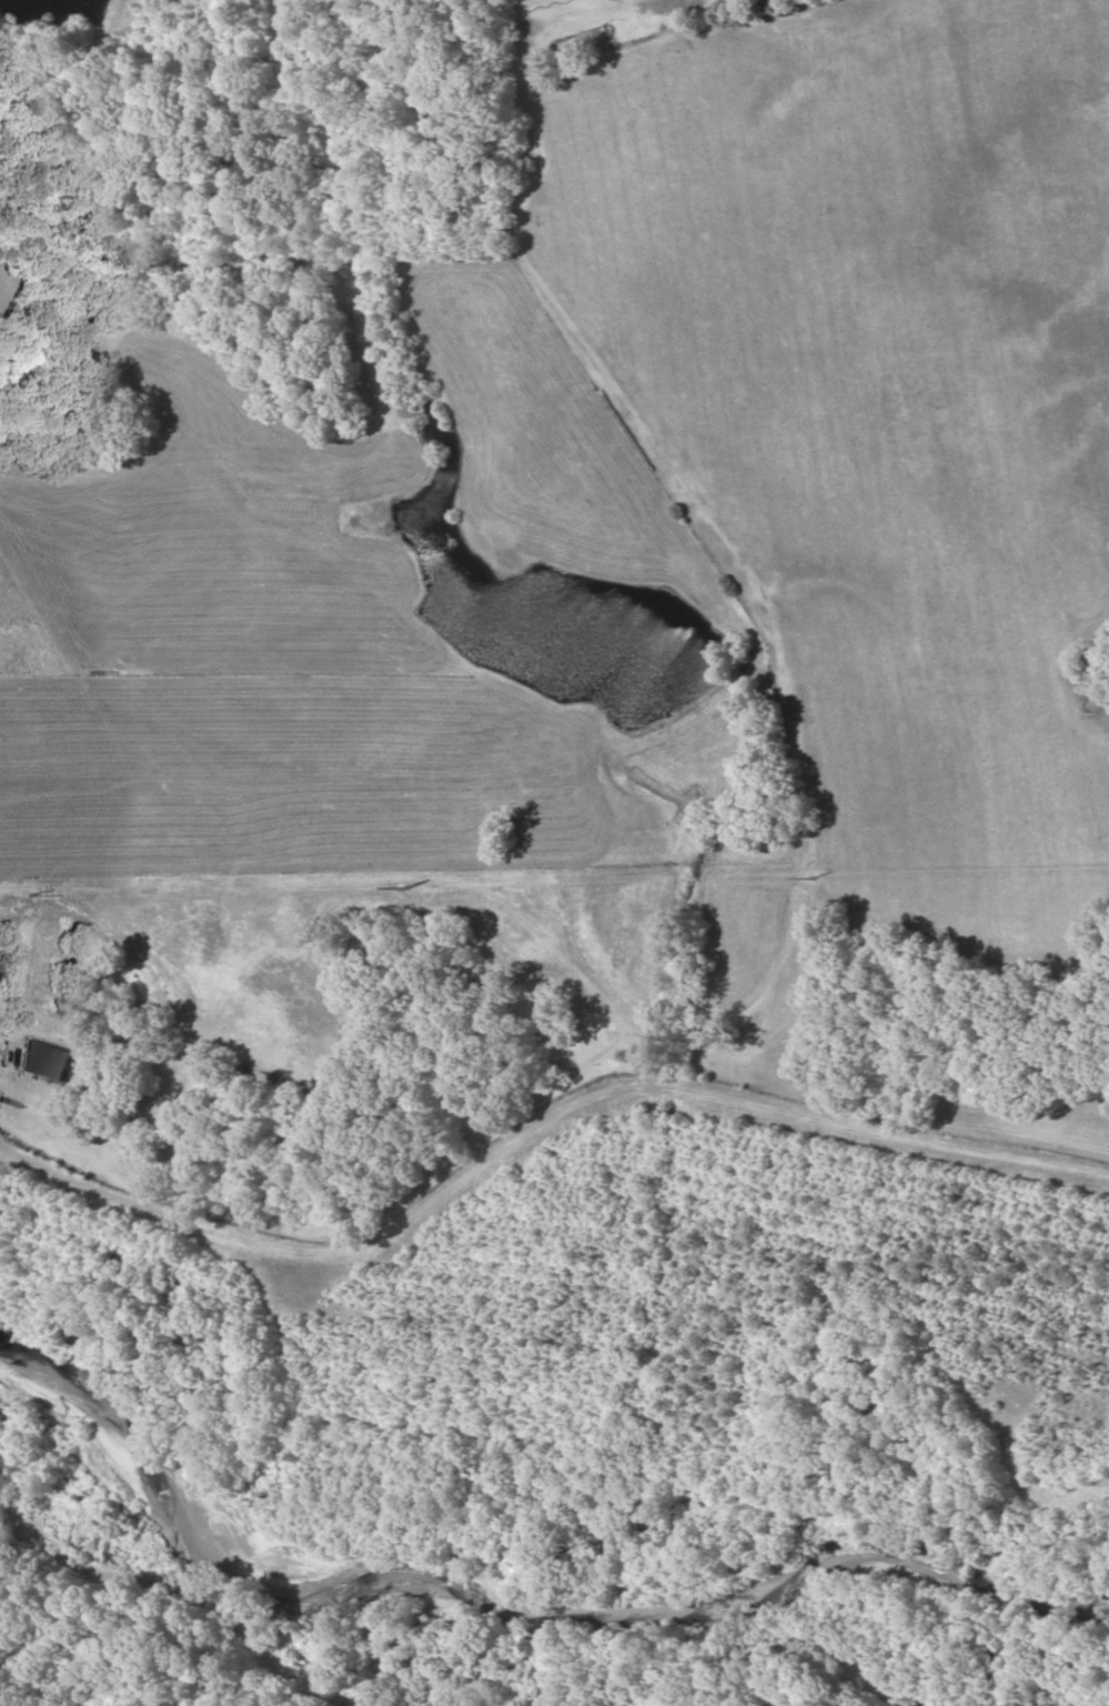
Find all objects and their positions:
power tower: (824, 875)
power tower: (414, 885)
power tower: (19, 894)
building: (43, 1062)
road: (533, 1120)

